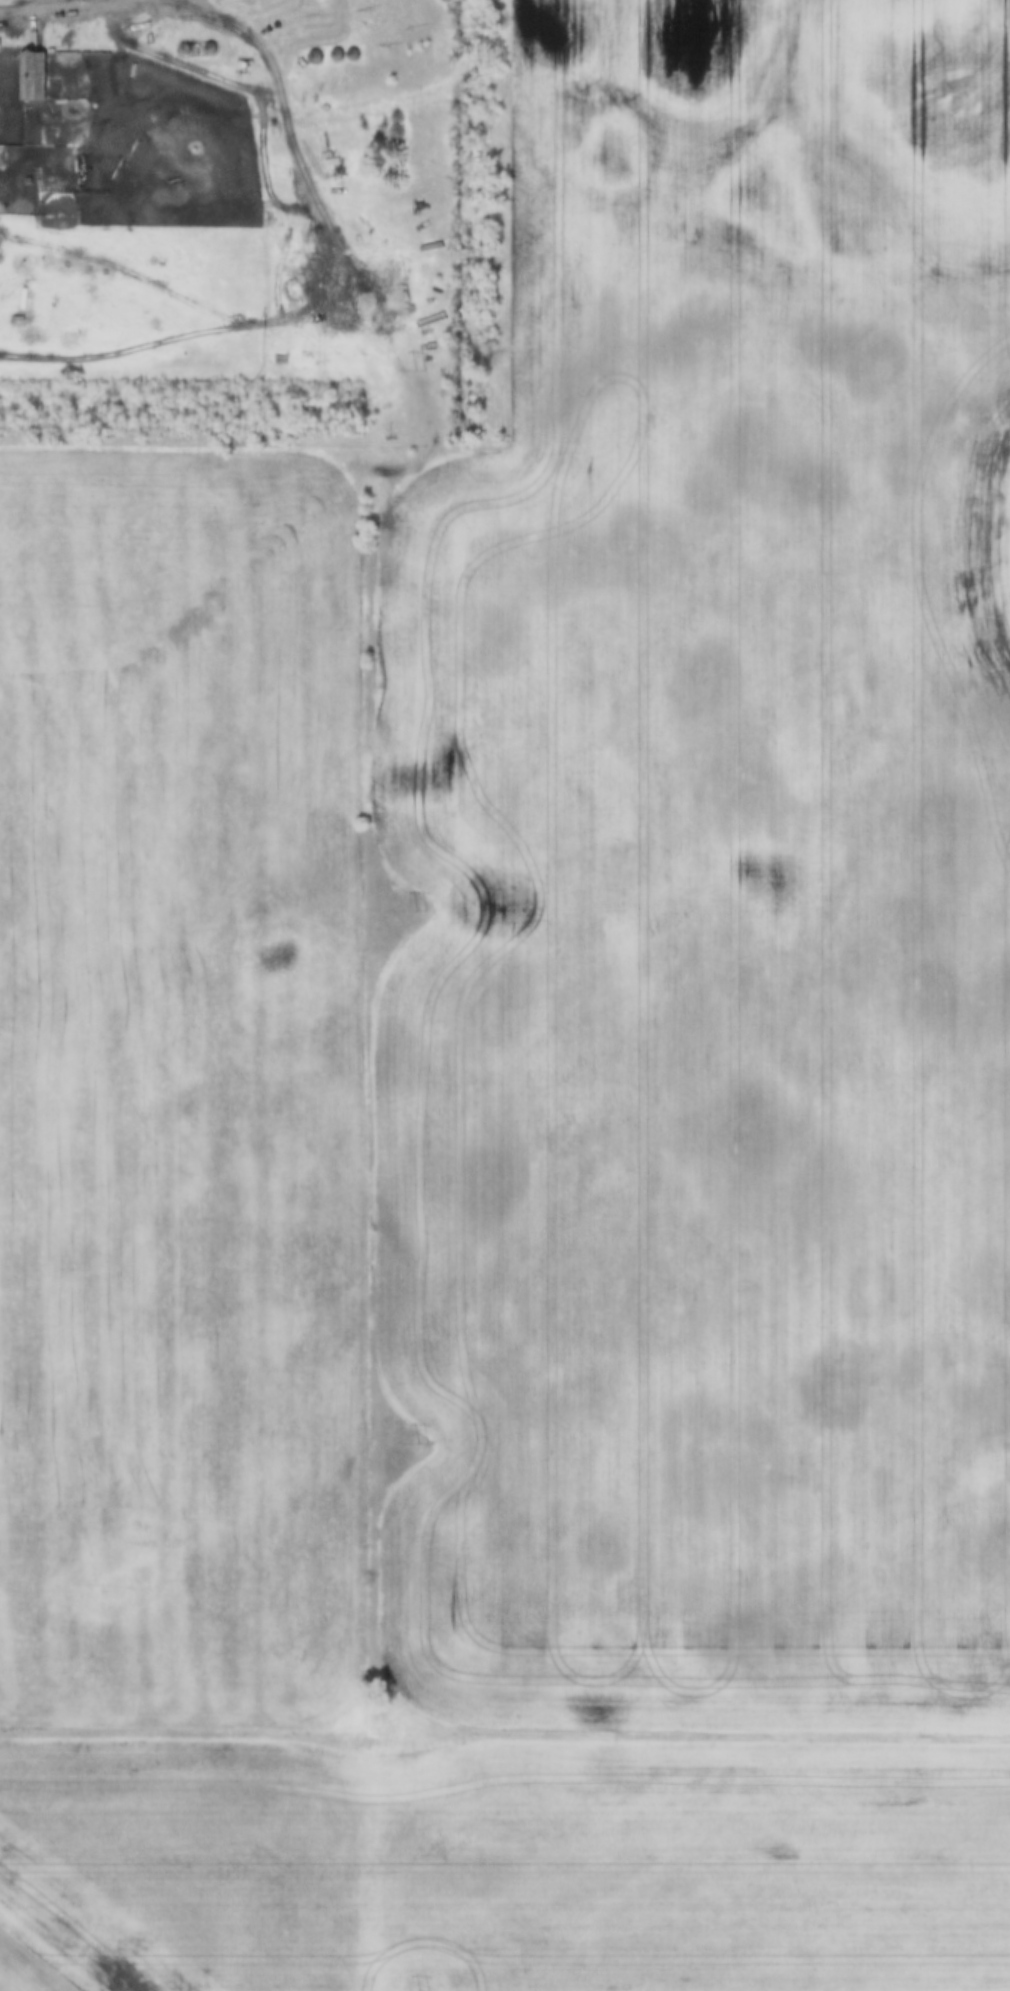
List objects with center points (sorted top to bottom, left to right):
road: (79, 3)
road: (99, 4)
road: (42, 9)
building: (317, 57)
building: (35, 75)
power tower: (420, 369)
road: (429, 413)
power tower: (422, 911)
power tower: (423, 1444)

